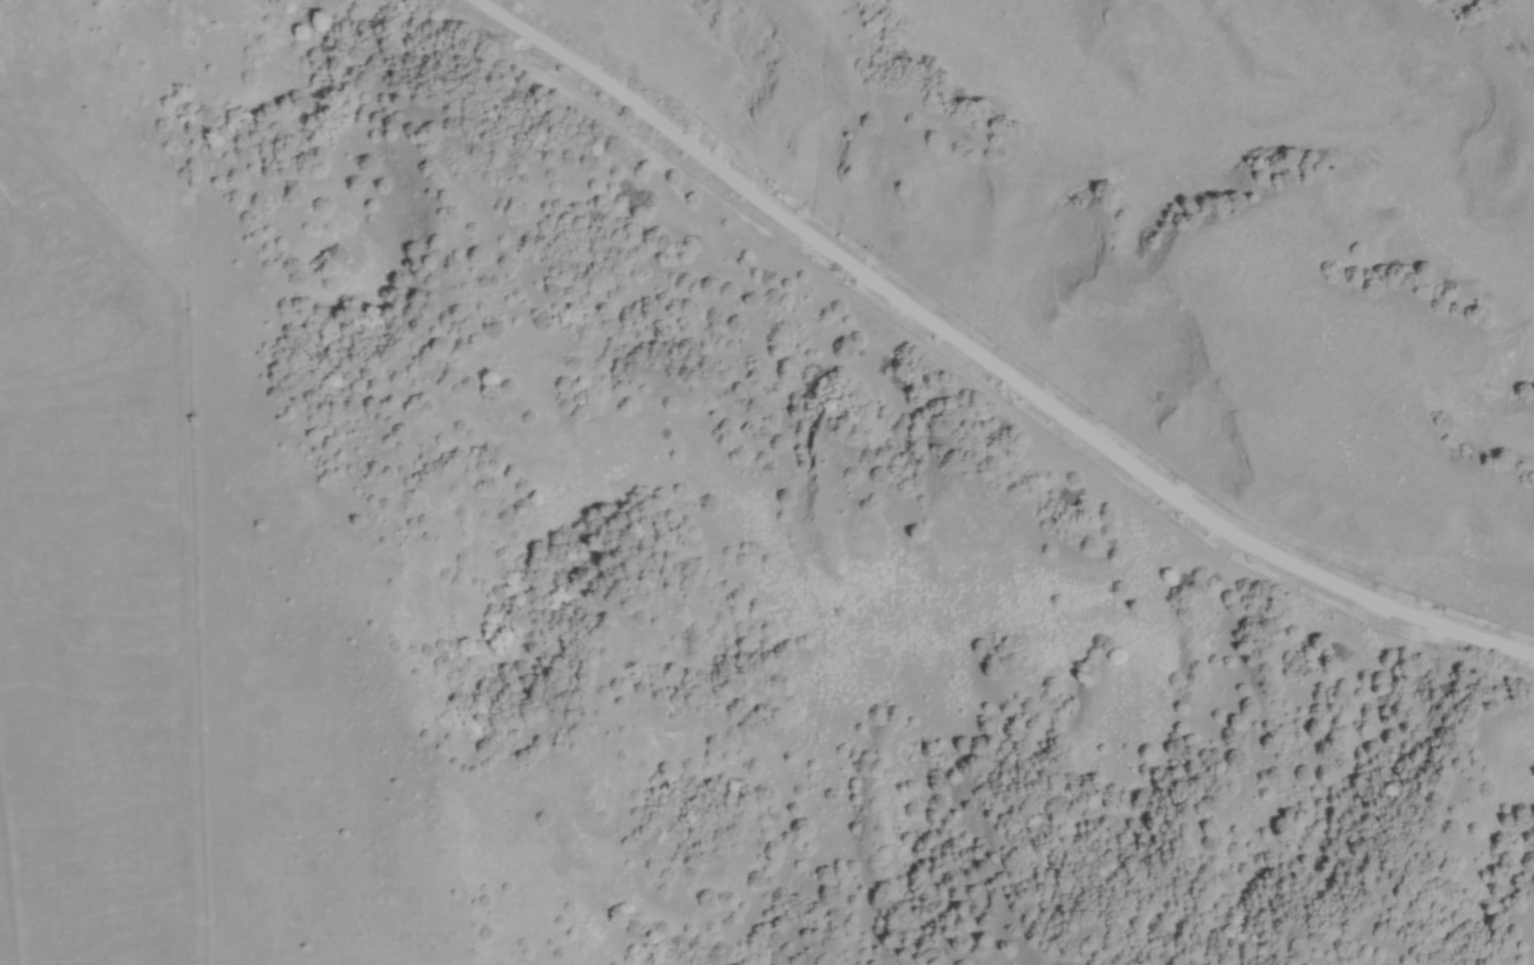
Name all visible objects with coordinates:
road: (986, 363)

